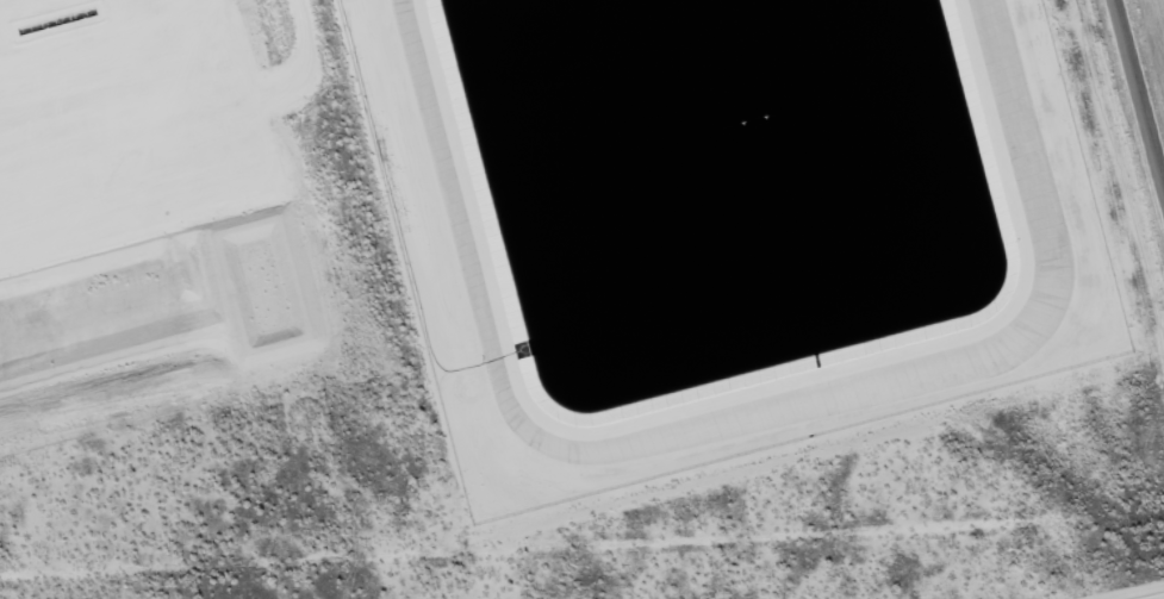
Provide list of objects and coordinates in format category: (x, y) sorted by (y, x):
road: (1134, 113)

